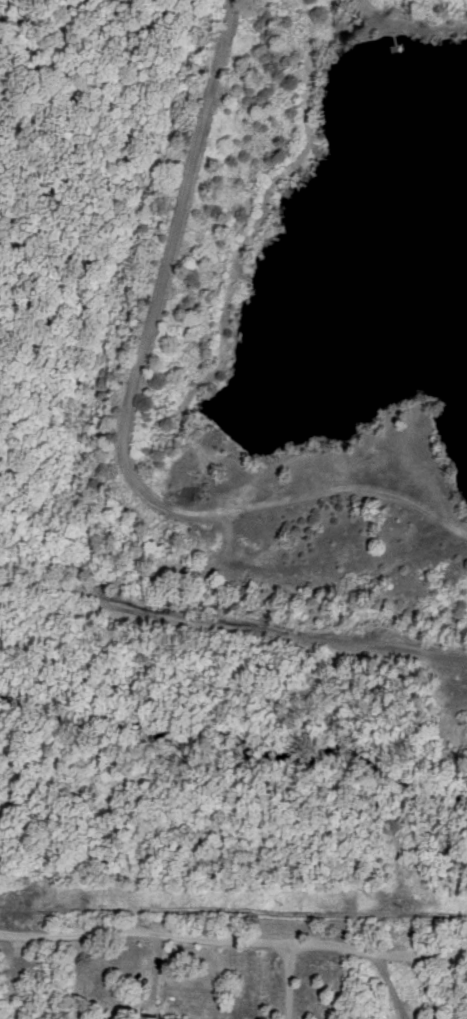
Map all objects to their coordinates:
road: (227, 68)
road: (217, 227)
road: (281, 229)
road: (233, 940)
road: (288, 983)
building: (158, 1017)

